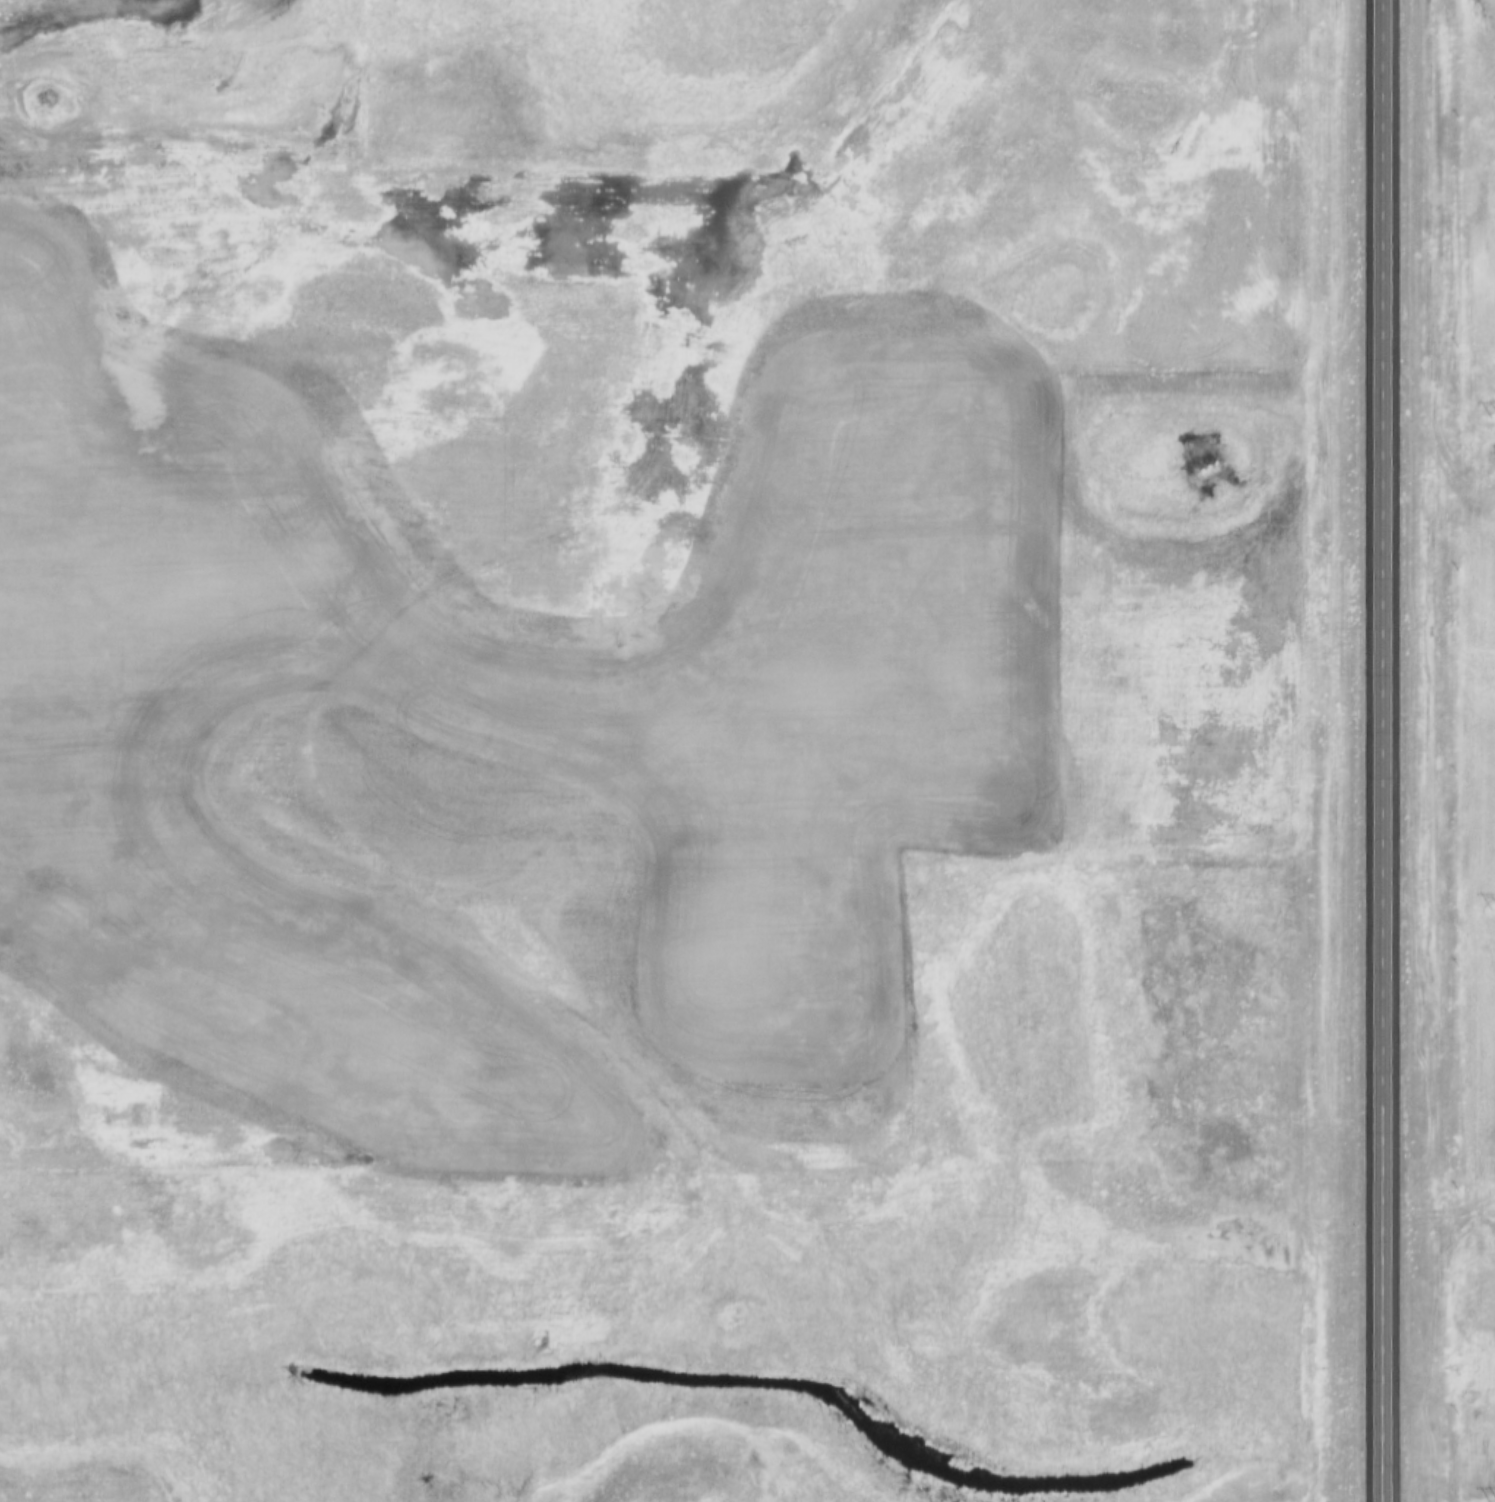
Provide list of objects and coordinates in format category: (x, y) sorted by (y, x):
power tower: (1492, 416)
road: (1387, 751)
power tower: (1493, 907)
power tower: (1492, 1501)

